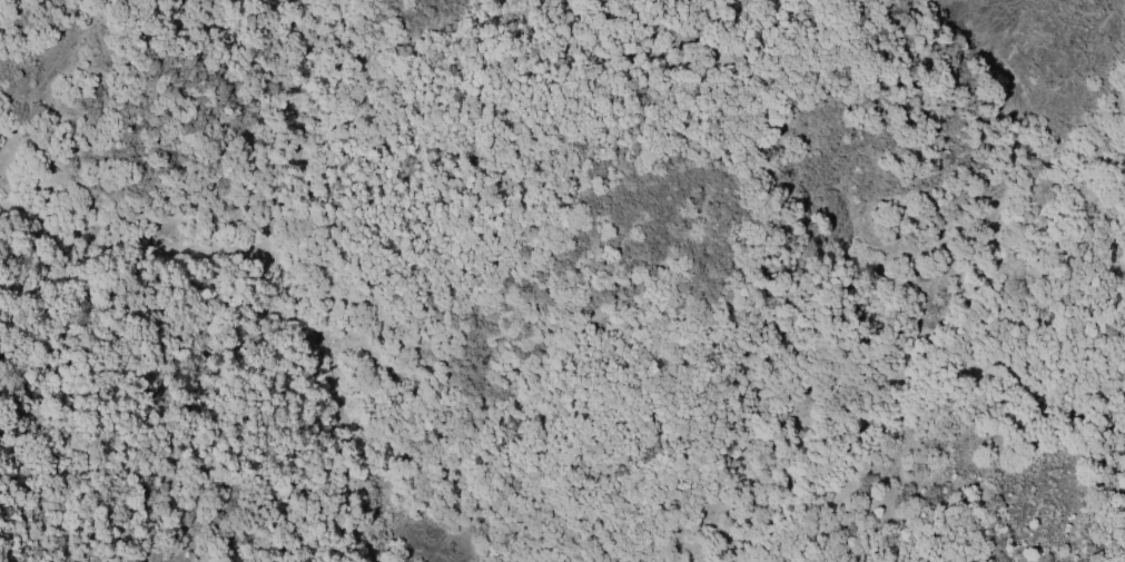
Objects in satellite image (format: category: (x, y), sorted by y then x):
road: (275, 266)
road: (368, 549)

